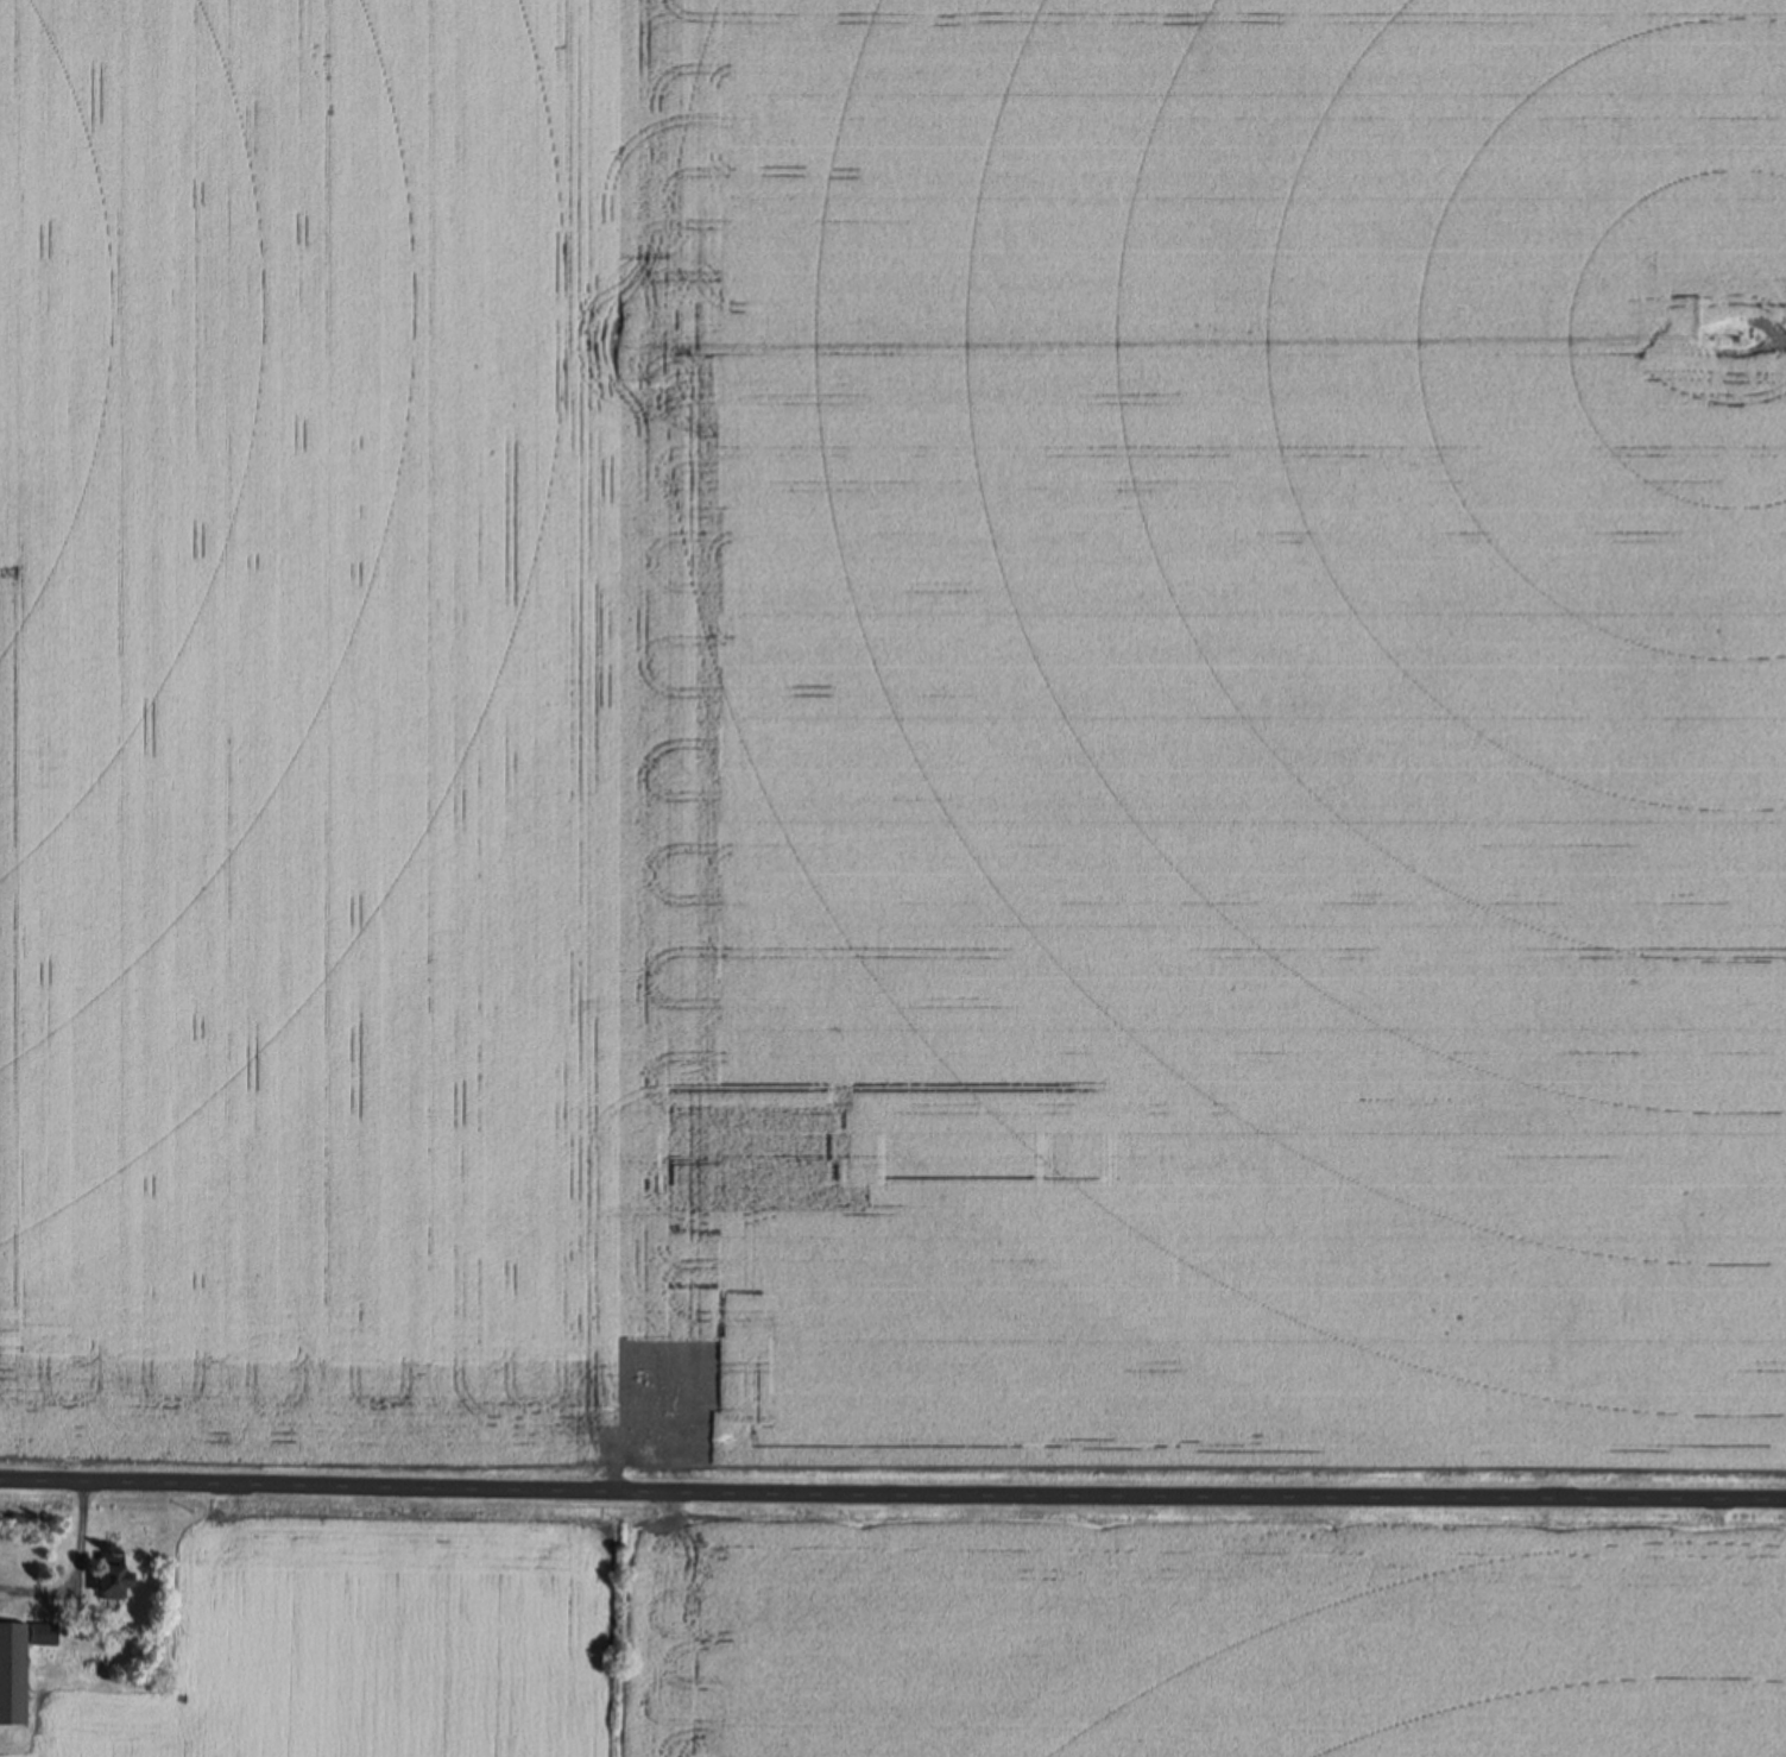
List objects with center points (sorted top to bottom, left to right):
road: (892, 1498)
building: (106, 1579)
building: (13, 1671)

